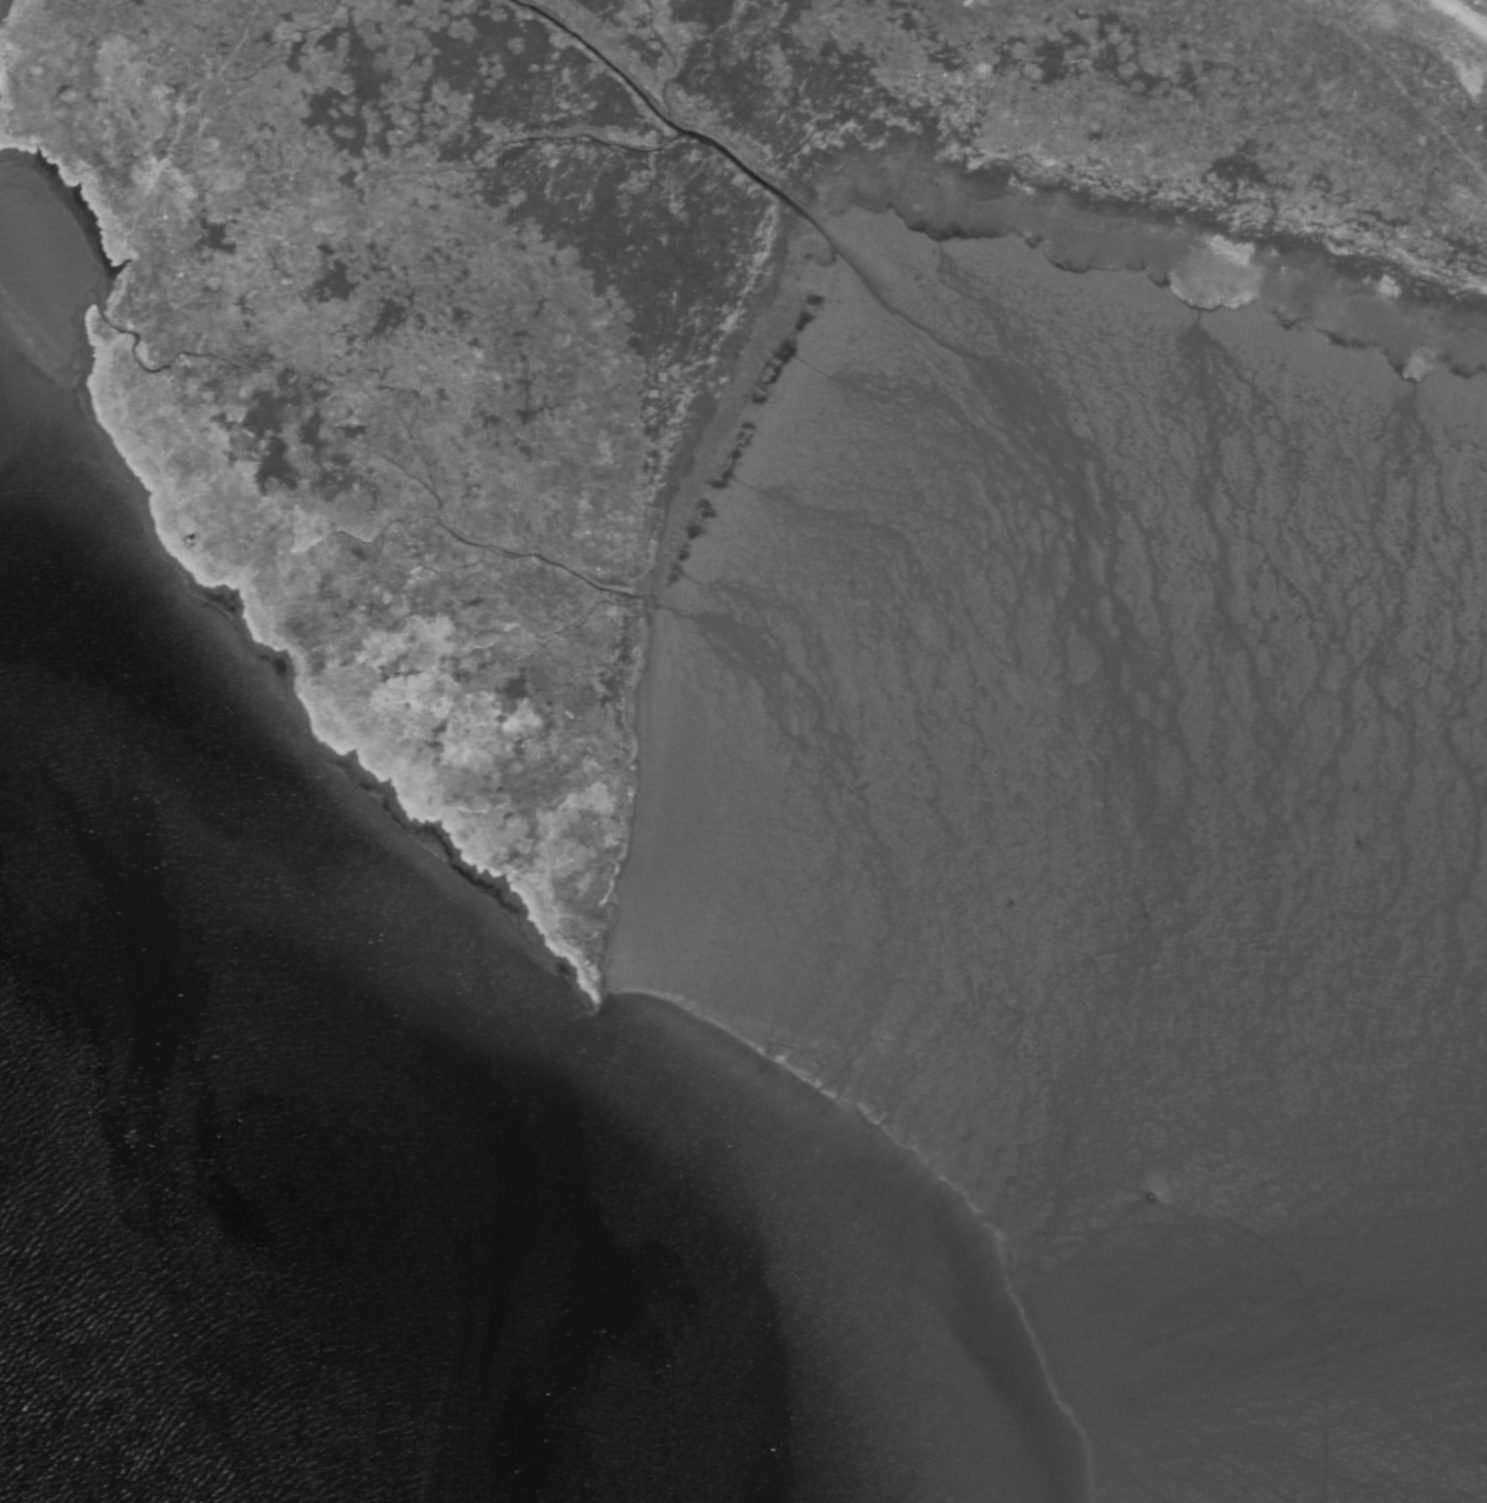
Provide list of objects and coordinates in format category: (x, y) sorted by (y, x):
river: (83, 1435)

